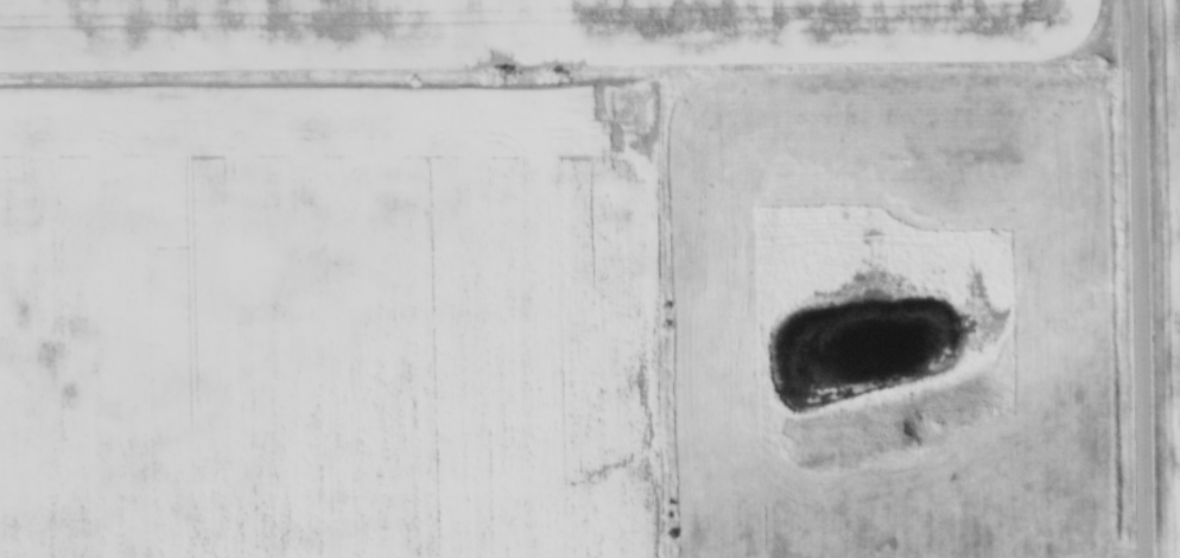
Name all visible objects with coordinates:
road: (1147, 279)

